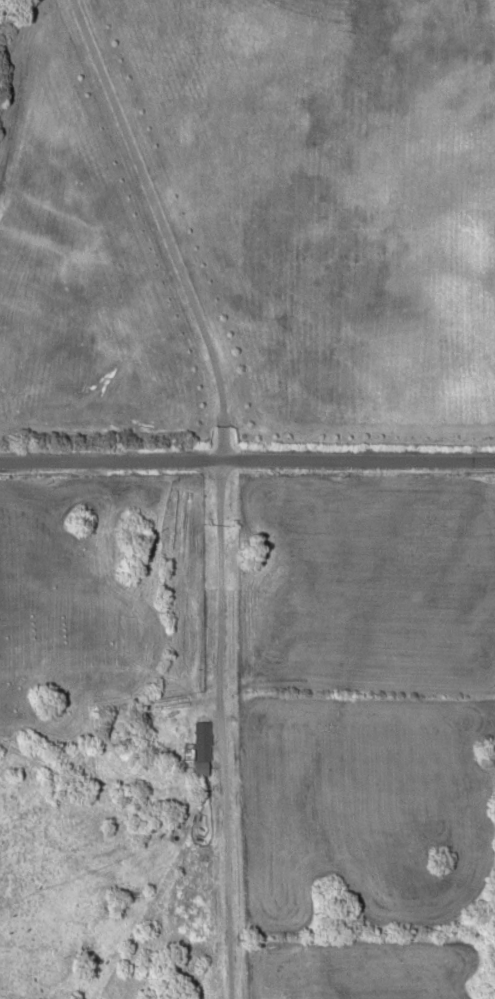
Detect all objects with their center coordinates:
road: (247, 456)
building: (201, 741)

